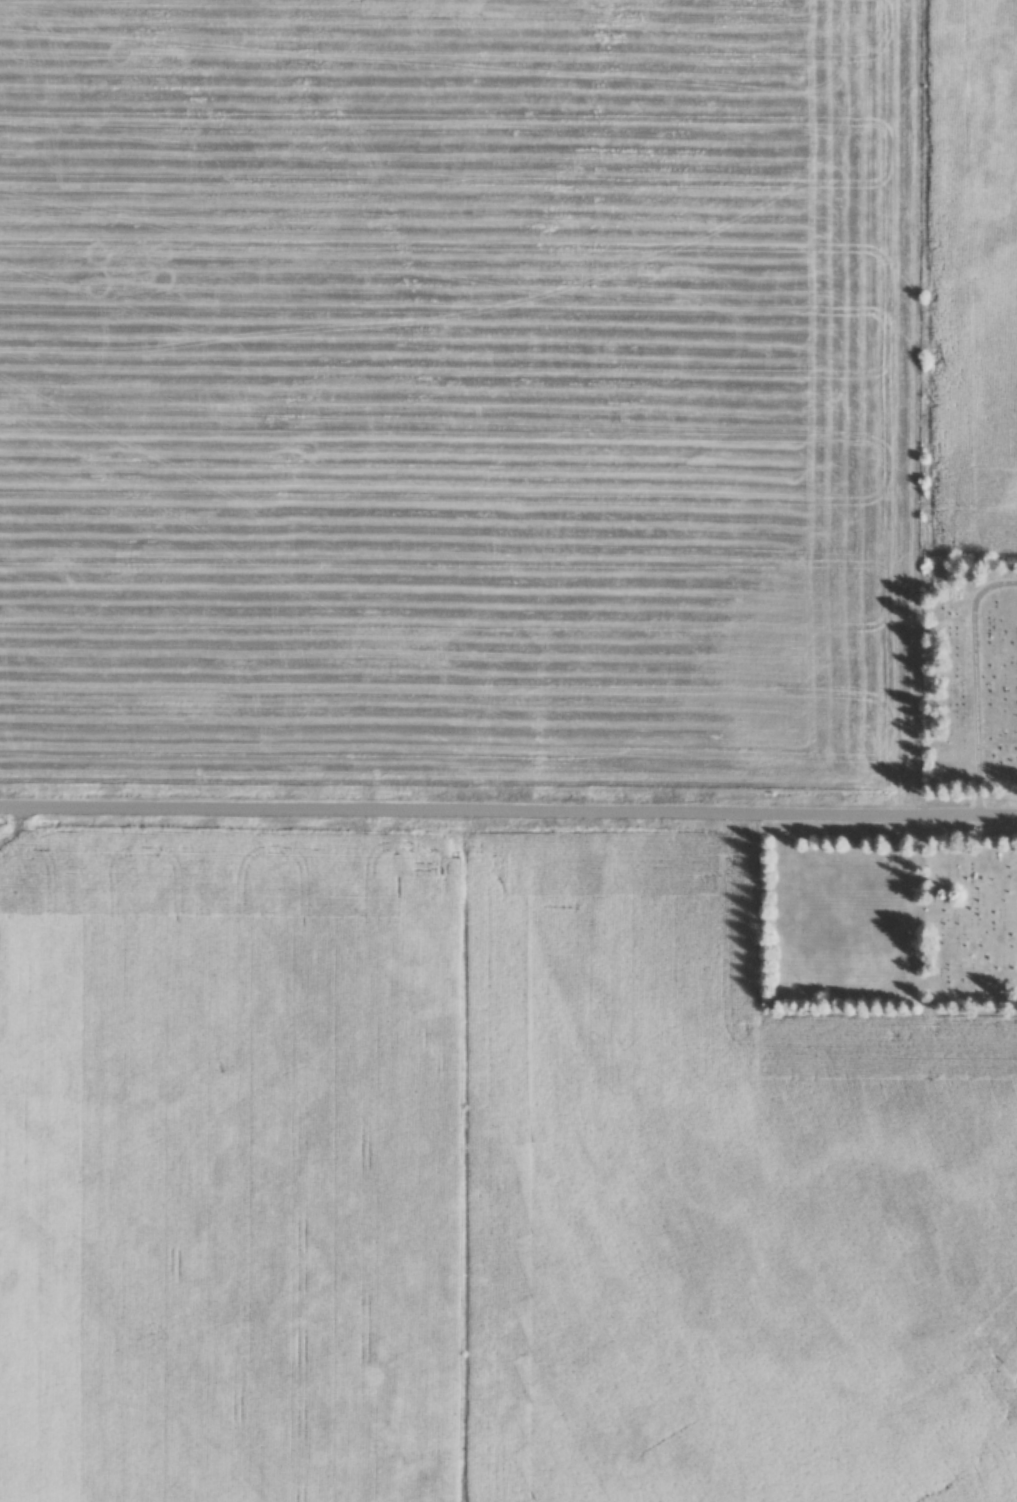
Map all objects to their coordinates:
crop: (456, 388)
road: (970, 680)
road: (508, 807)
crop: (226, 1169)

